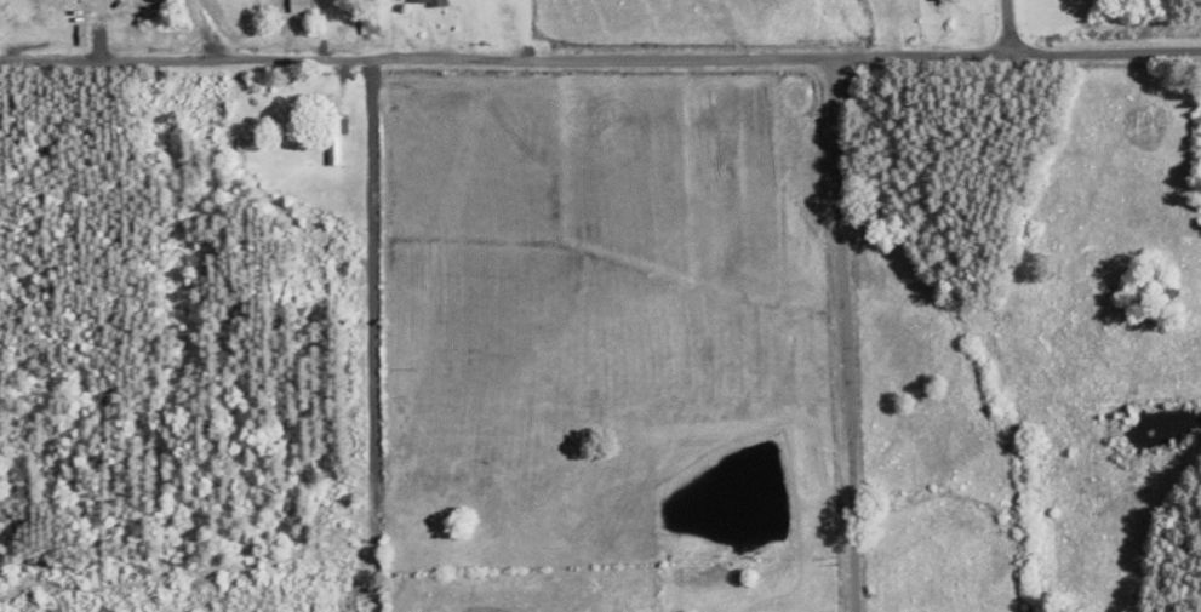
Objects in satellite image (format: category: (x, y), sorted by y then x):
building: (424, 4)
building: (297, 6)
road: (994, 22)
road: (600, 56)
building: (332, 141)
road: (10, 553)

